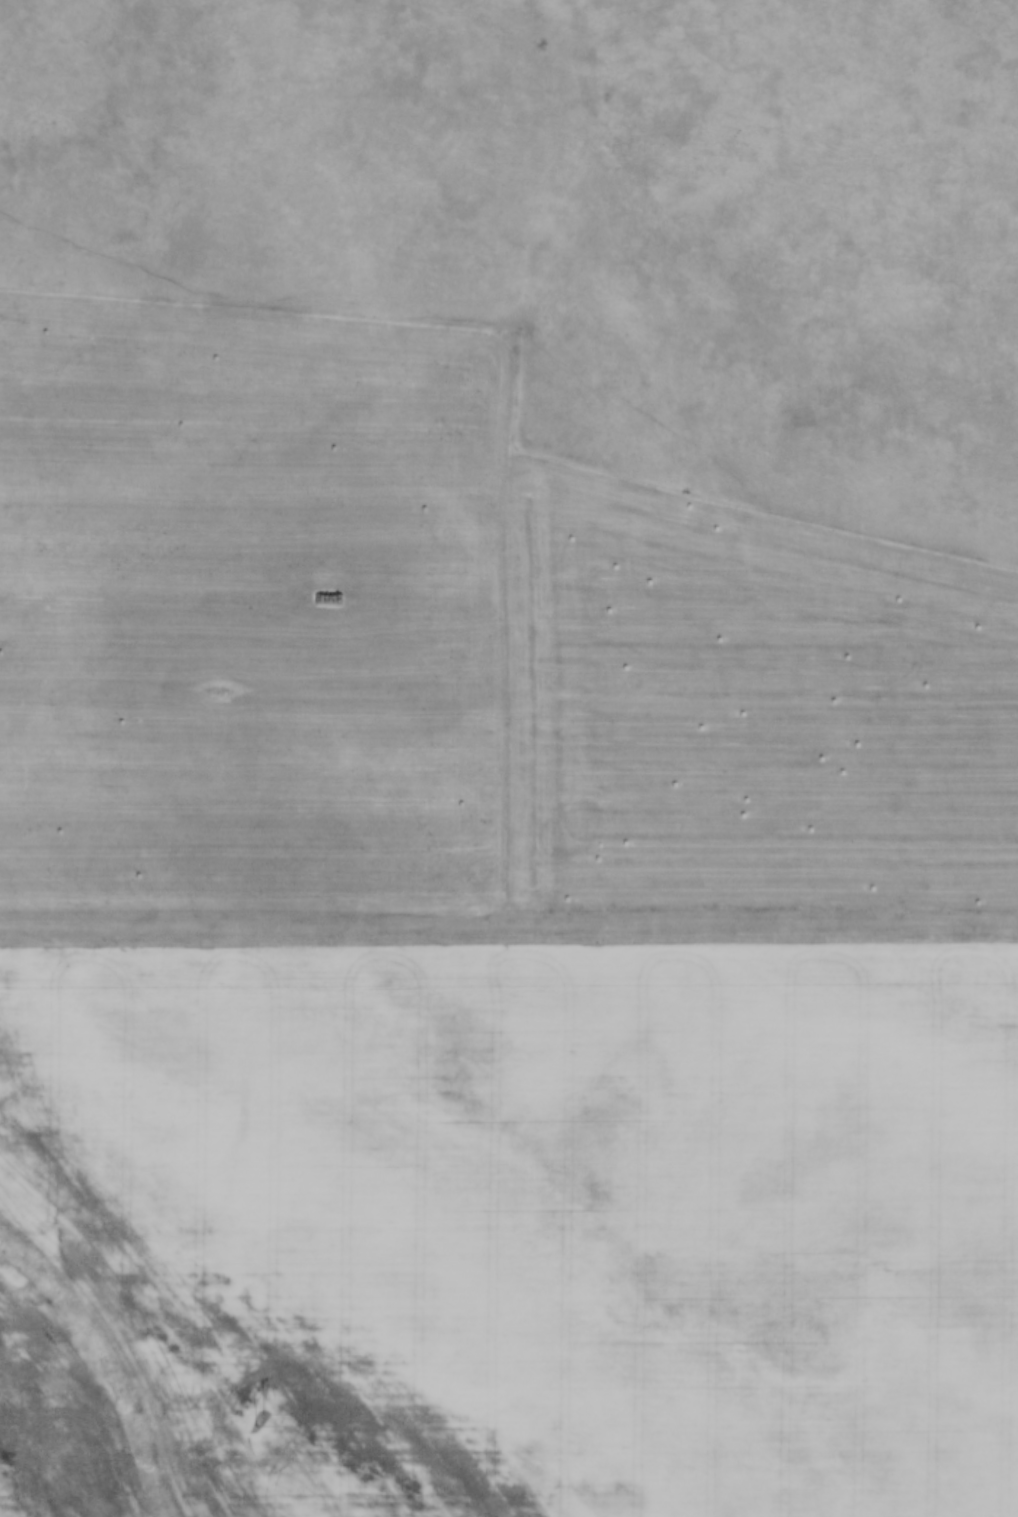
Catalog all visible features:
power tower: (260, 1417)

